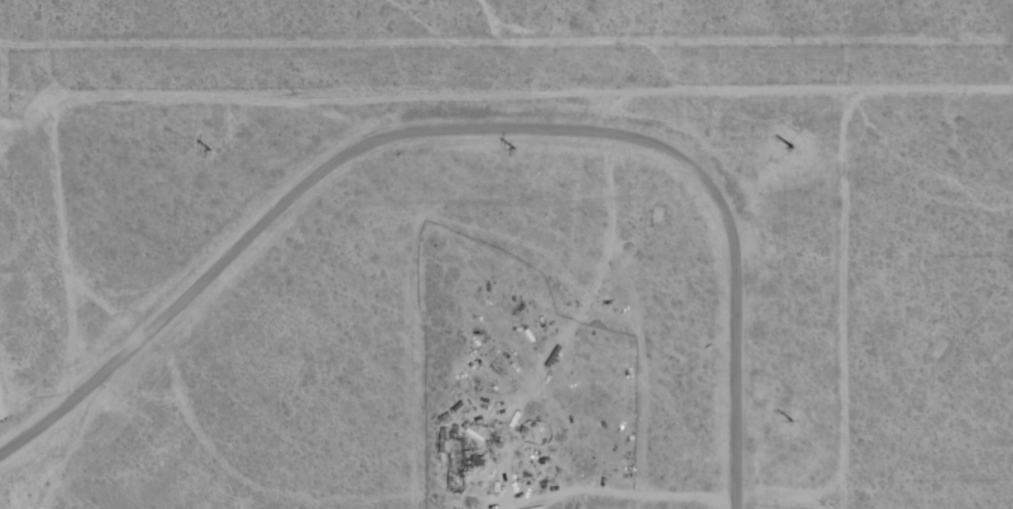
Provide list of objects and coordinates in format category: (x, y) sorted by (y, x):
road: (529, 86)
building: (235, 130)
power tower: (795, 151)
building: (940, 351)
building: (150, 376)
building: (470, 461)

